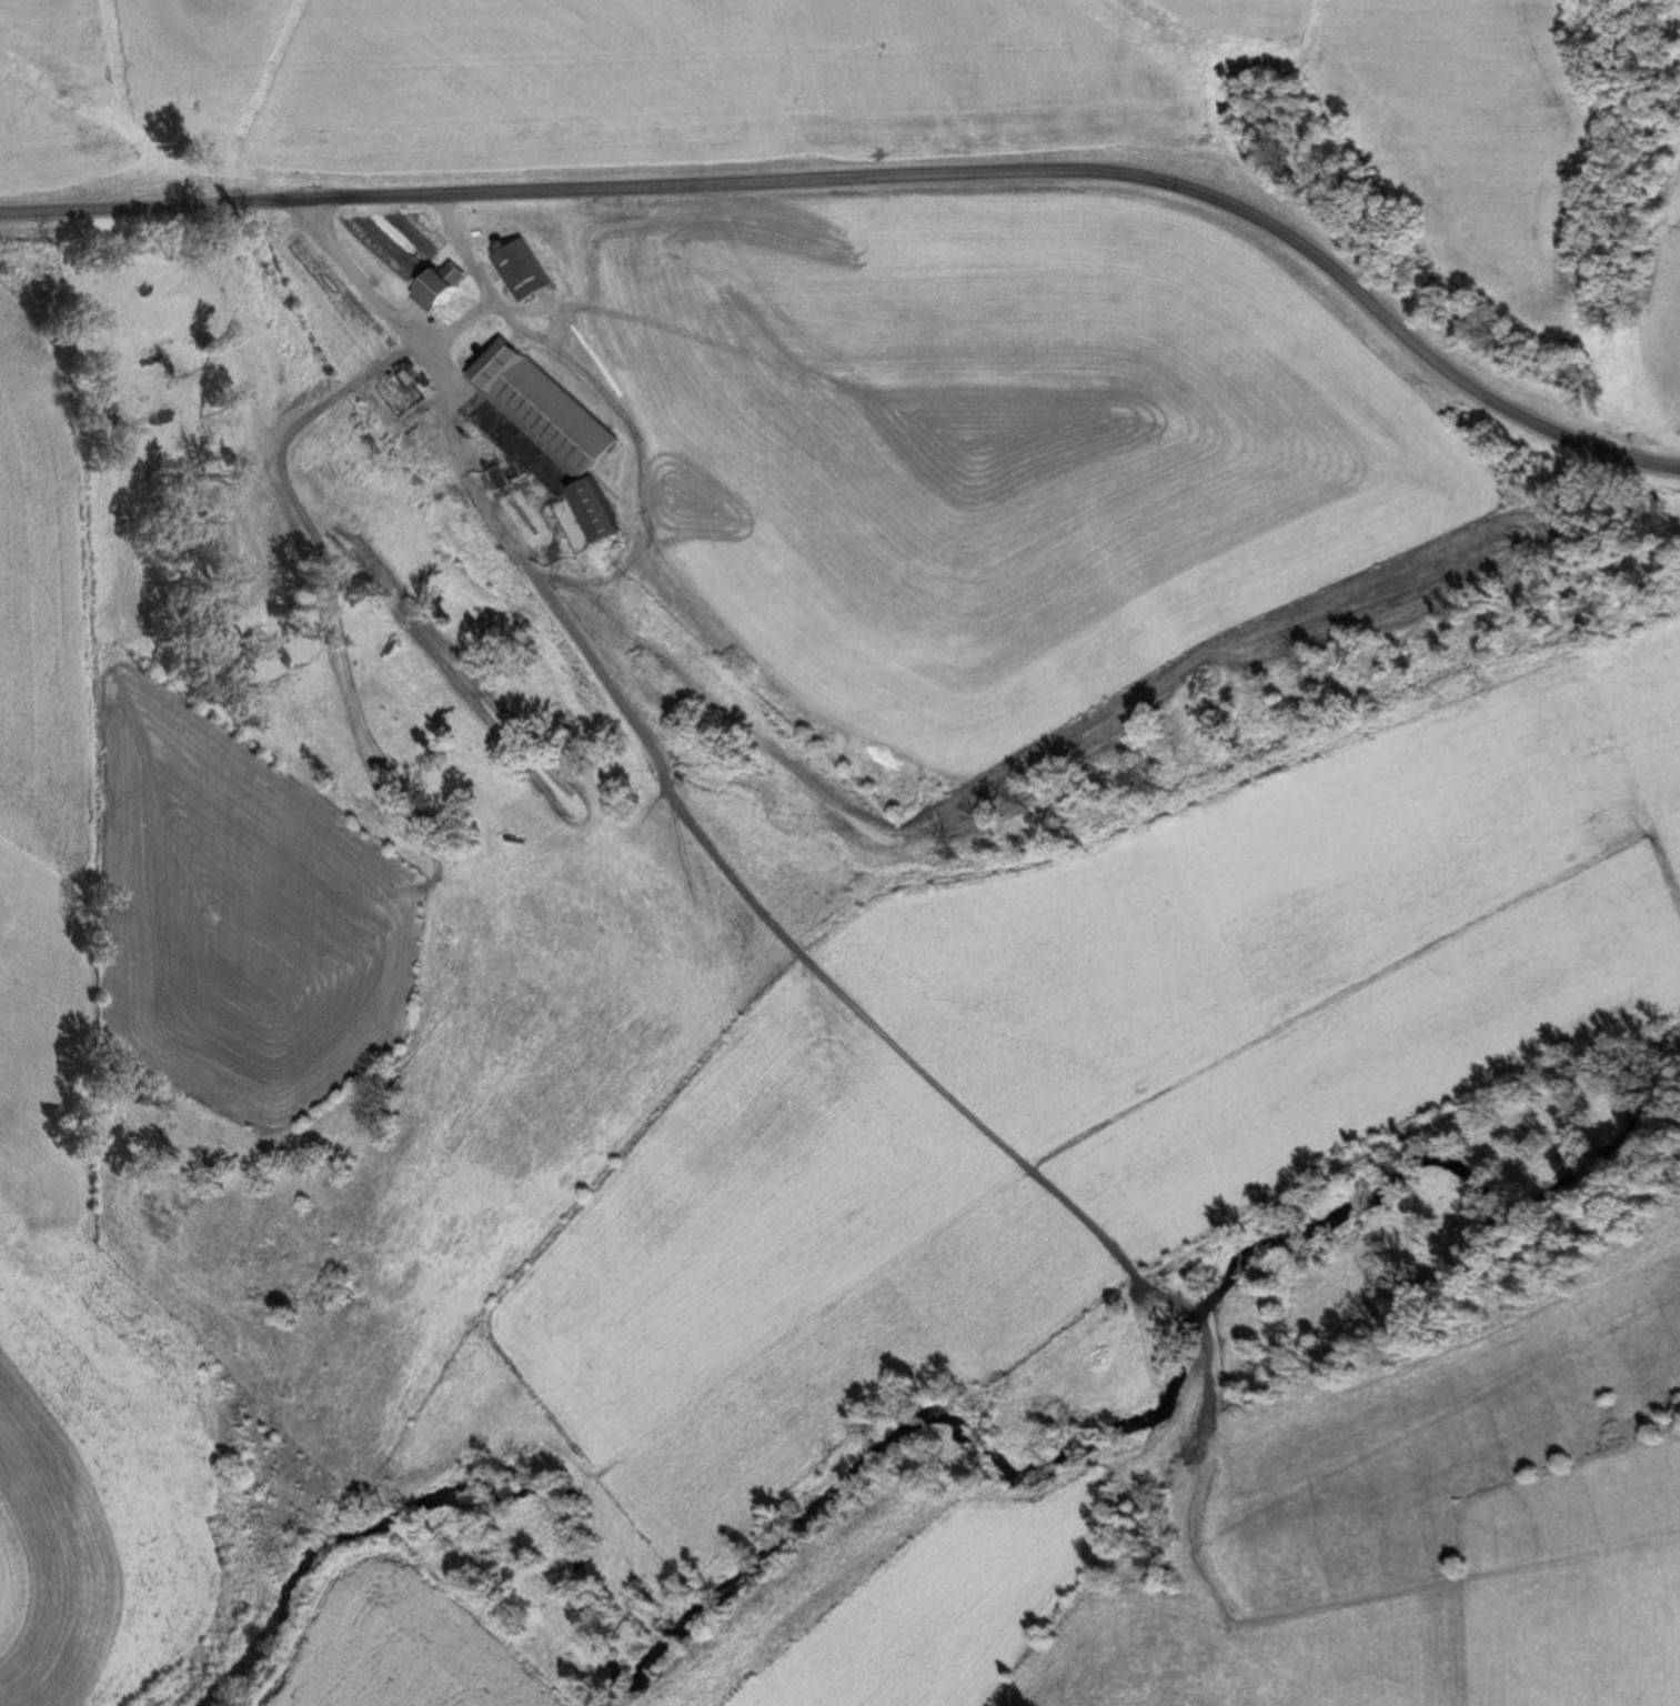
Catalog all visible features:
road: (881, 174)
building: (432, 271)
building: (524, 272)
building: (516, 459)
building: (598, 511)

